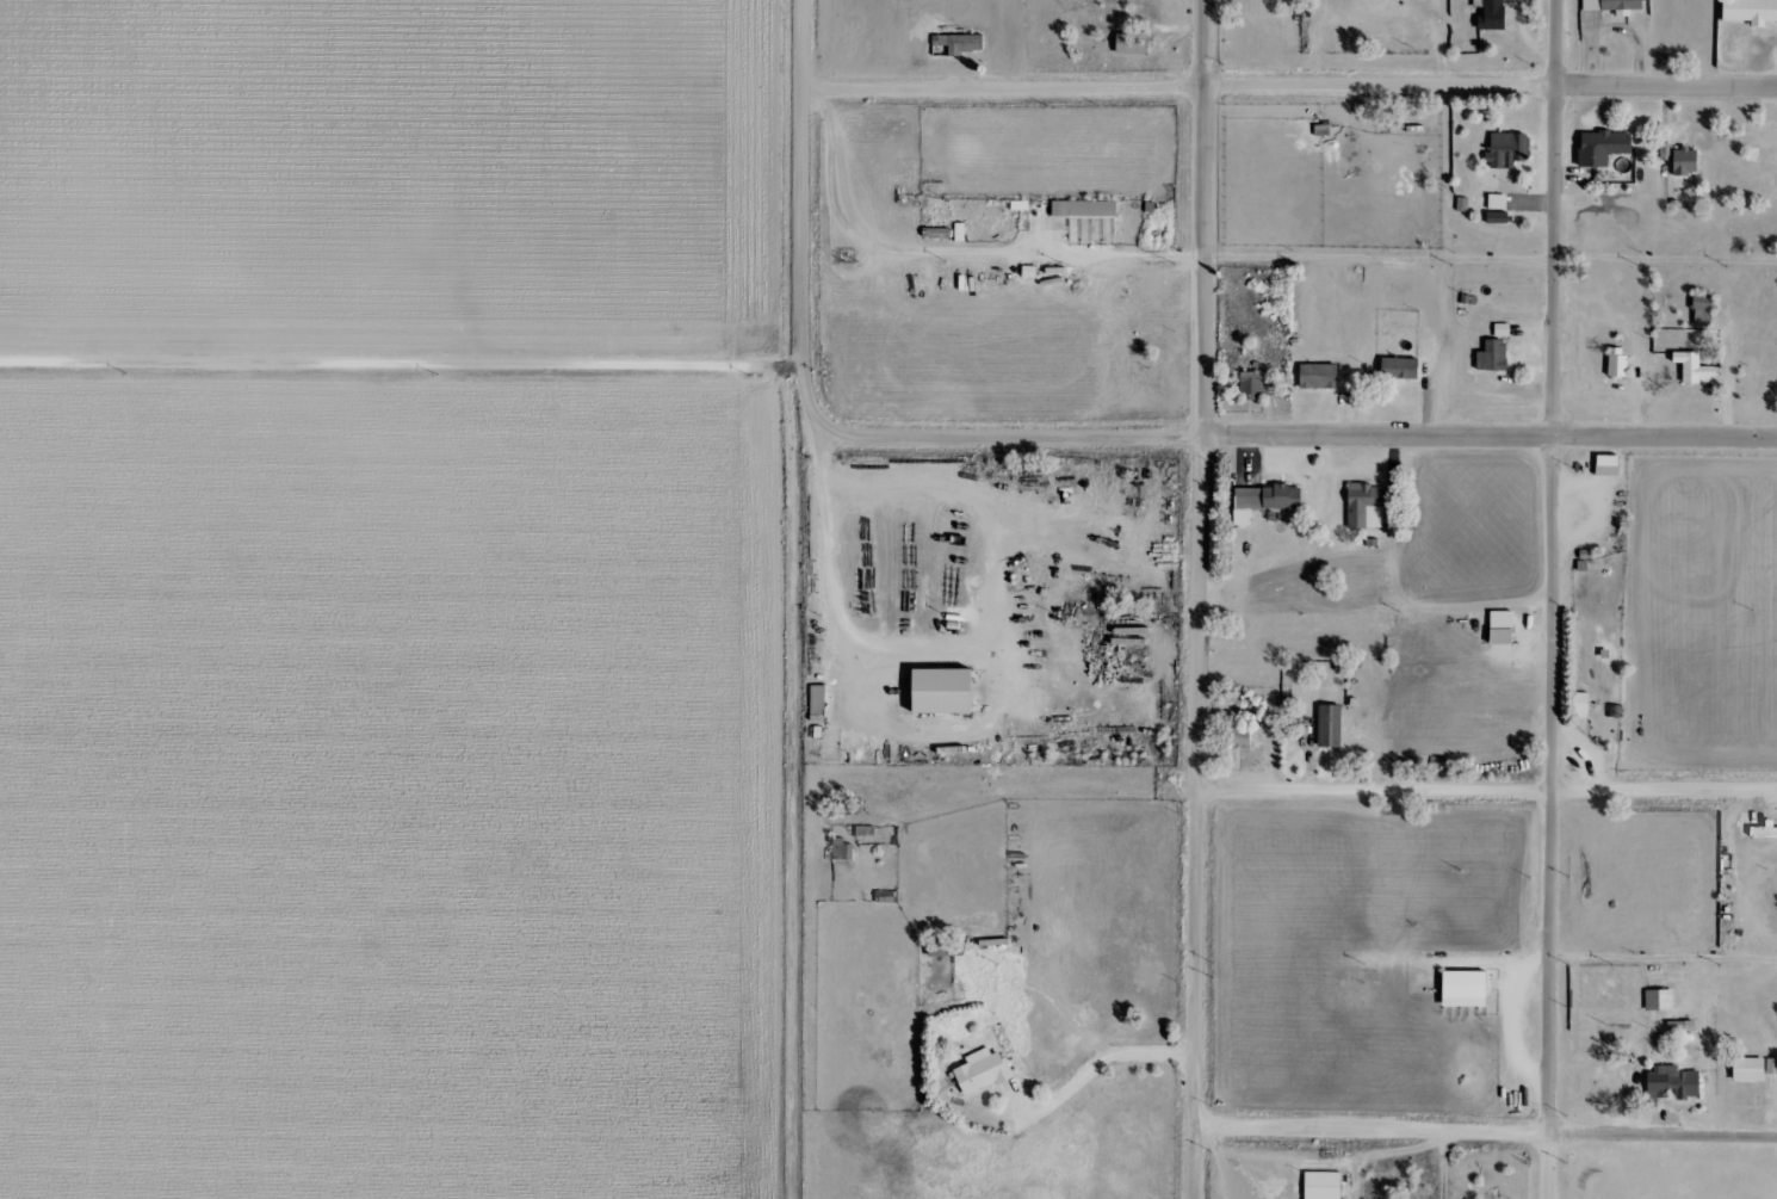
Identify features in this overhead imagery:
building: (1615, 6)
building: (1752, 11)
building: (1492, 14)
building: (1134, 43)
building: (958, 44)
road: (1290, 82)
building: (1603, 147)
building: (1507, 149)
building: (1686, 161)
building: (1498, 202)
building: (1084, 209)
road: (803, 216)
building: (1497, 217)
building: (960, 231)
building: (939, 233)
building: (1030, 271)
building: (1703, 310)
building: (1493, 356)
building: (1617, 363)
road: (401, 364)
building: (1694, 366)
building: (1400, 369)
building: (1319, 376)
building: (1256, 383)
road: (1293, 432)
building: (1609, 465)
building: (1265, 501)
building: (1367, 506)
road: (1200, 599)
road: (1550, 599)
building: (1503, 628)
building: (947, 691)
building: (818, 699)
building: (1330, 725)
building: (1240, 734)
road: (1486, 790)
building: (1764, 830)
building: (947, 947)
road: (1663, 959)
building: (1467, 988)
building: (1659, 999)
road: (1101, 1061)
building: (1754, 1068)
building: (984, 1070)
building: (1672, 1082)
road: (1486, 1132)
park: (1671, 1173)
building: (1324, 1185)

